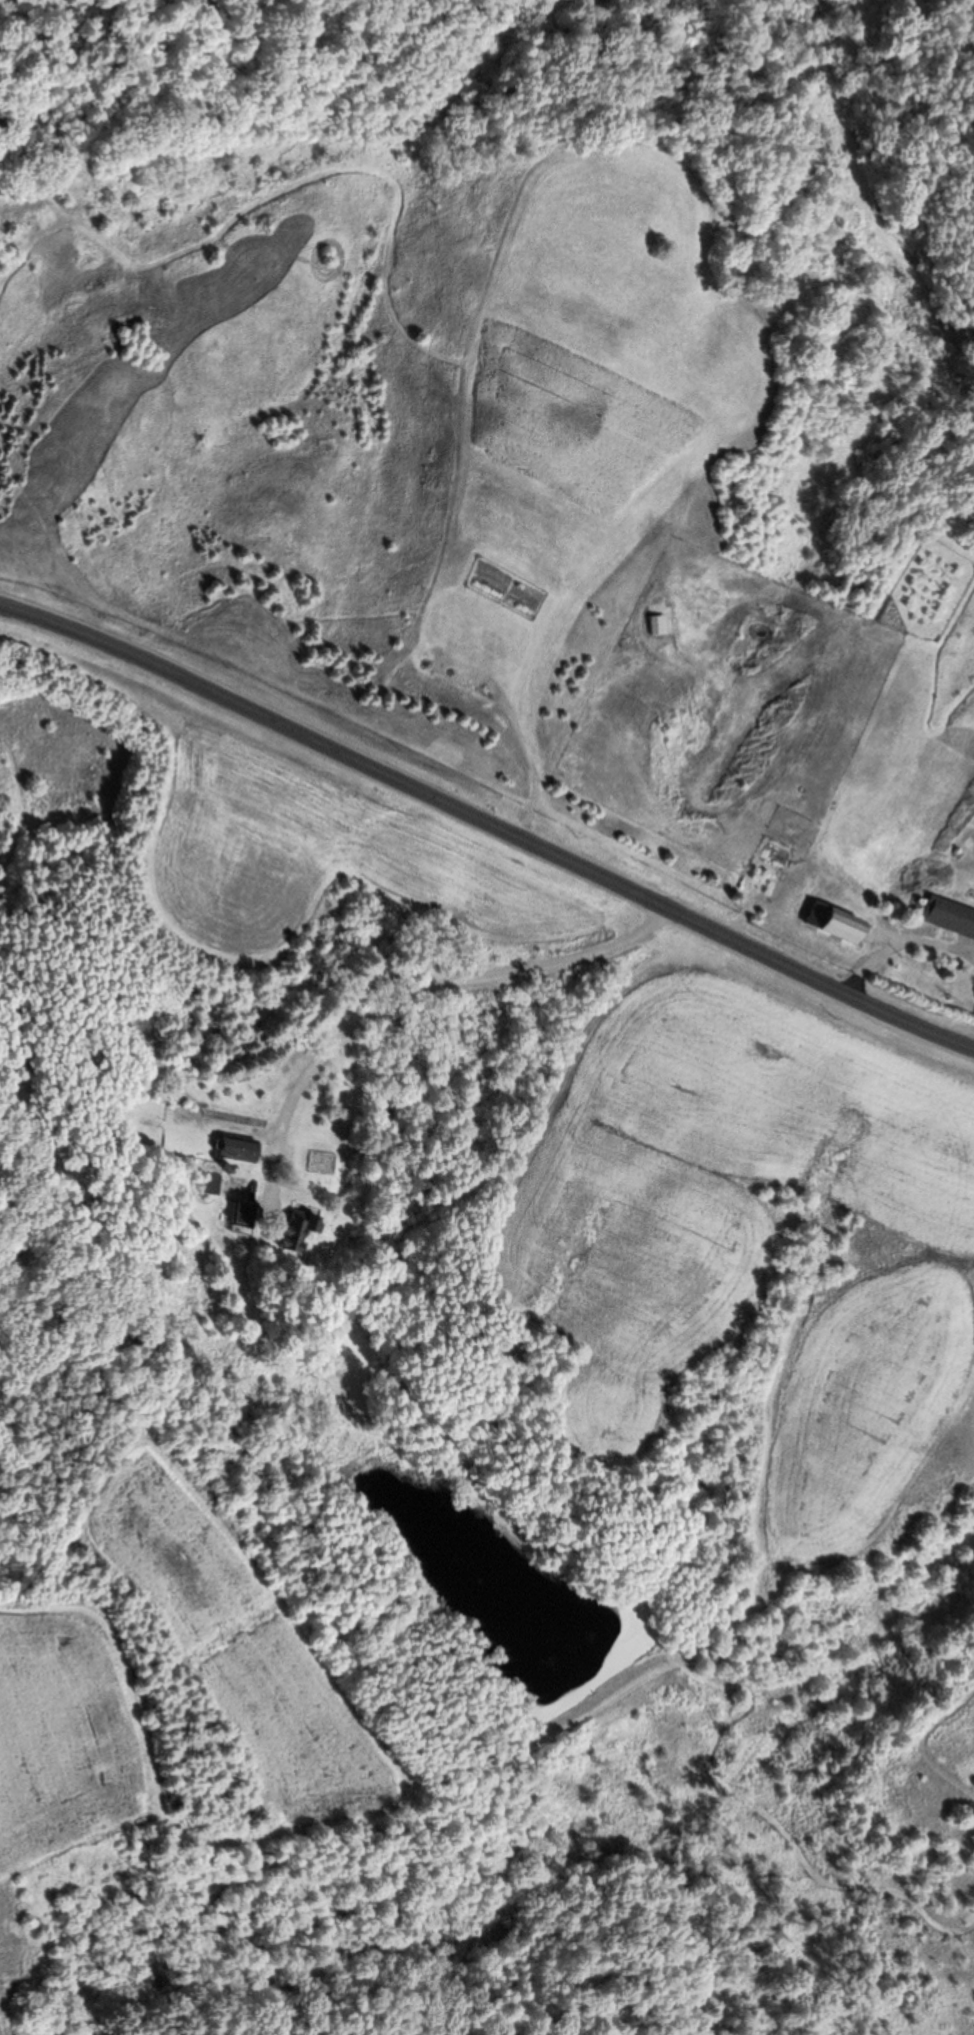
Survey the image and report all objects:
building: (663, 626)
road: (488, 824)
building: (951, 916)
building: (841, 924)
road: (346, 970)
building: (245, 1151)
building: (251, 1217)
building: (303, 1231)

